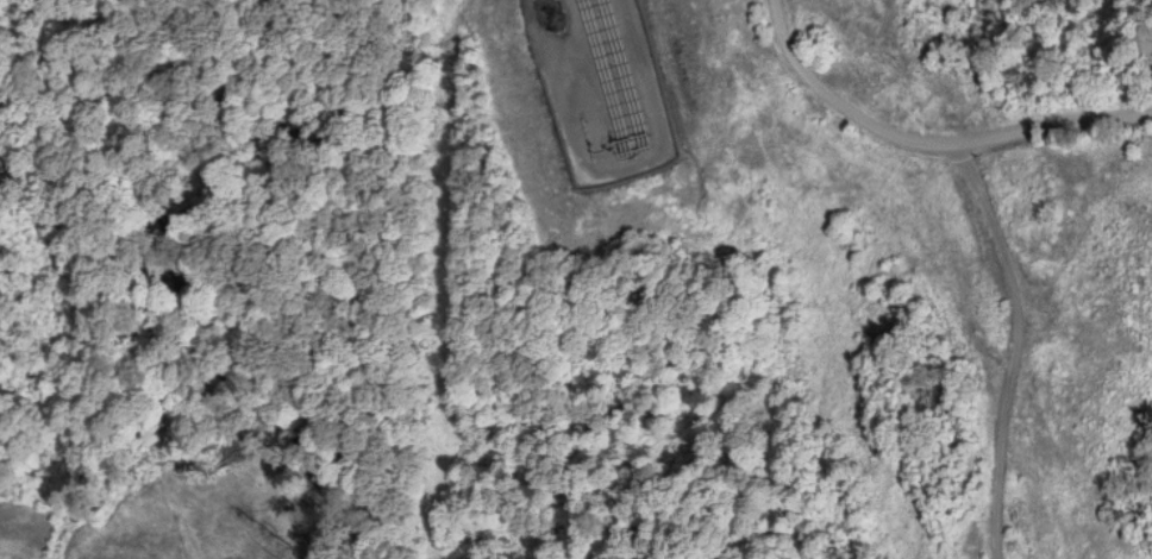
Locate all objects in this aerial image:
road: (927, 145)
road: (1010, 346)

